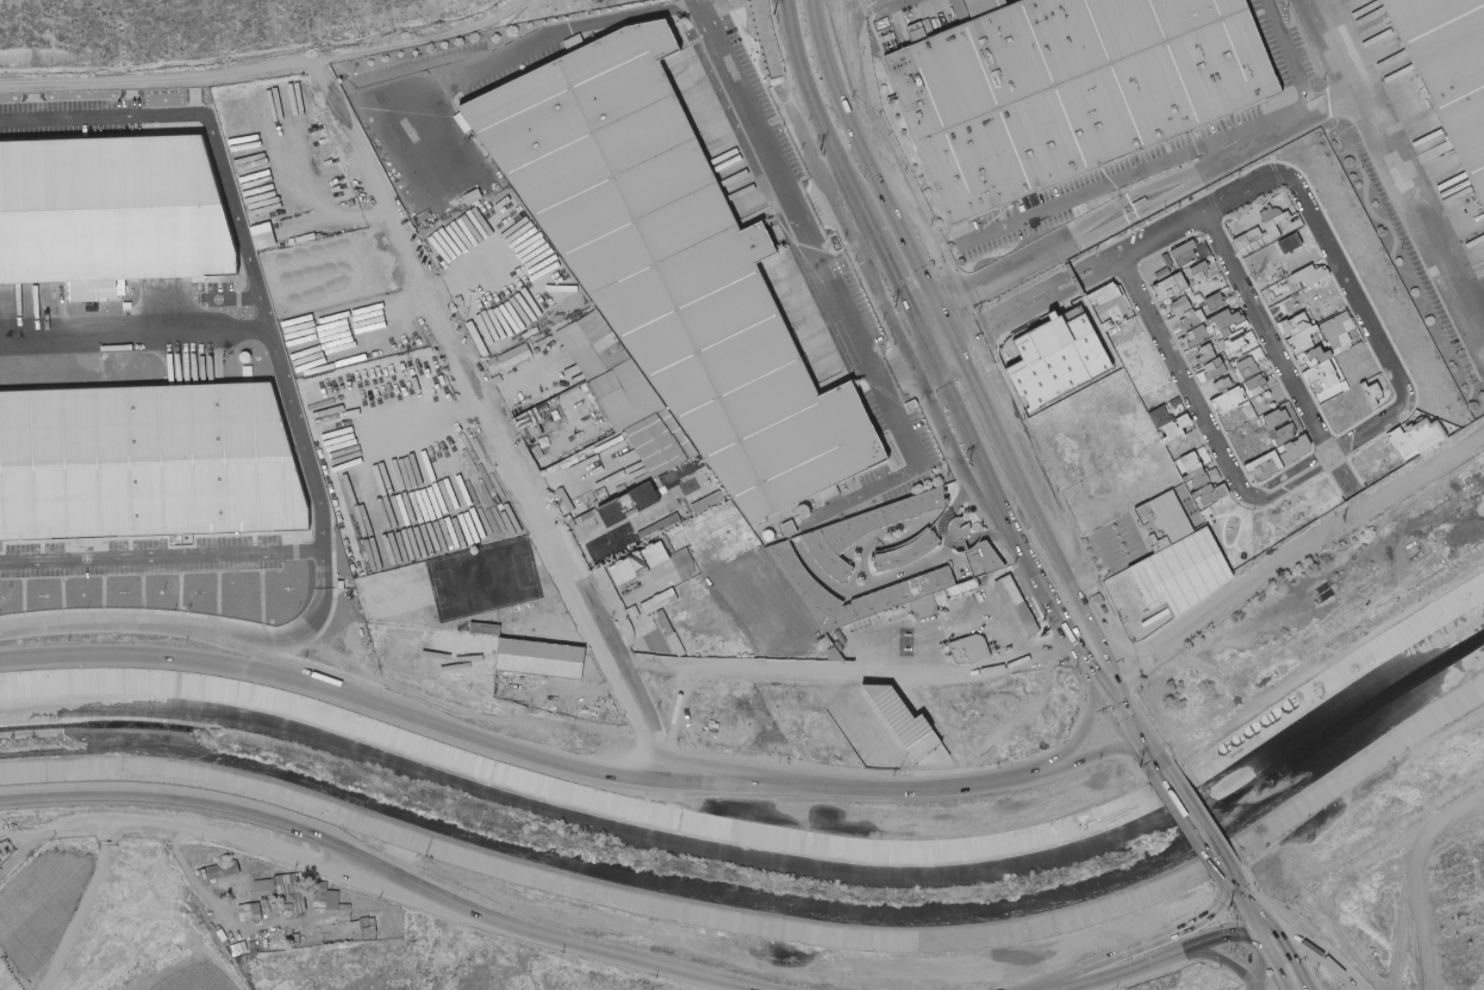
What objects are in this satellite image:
power tower: (773, 13)
power tower: (820, 148)
power tower: (898, 306)
power tower: (972, 464)
power tower: (1044, 612)
power tower: (1139, 764)
power tower: (1230, 904)
crop: (42, 914)
crop: (197, 979)

